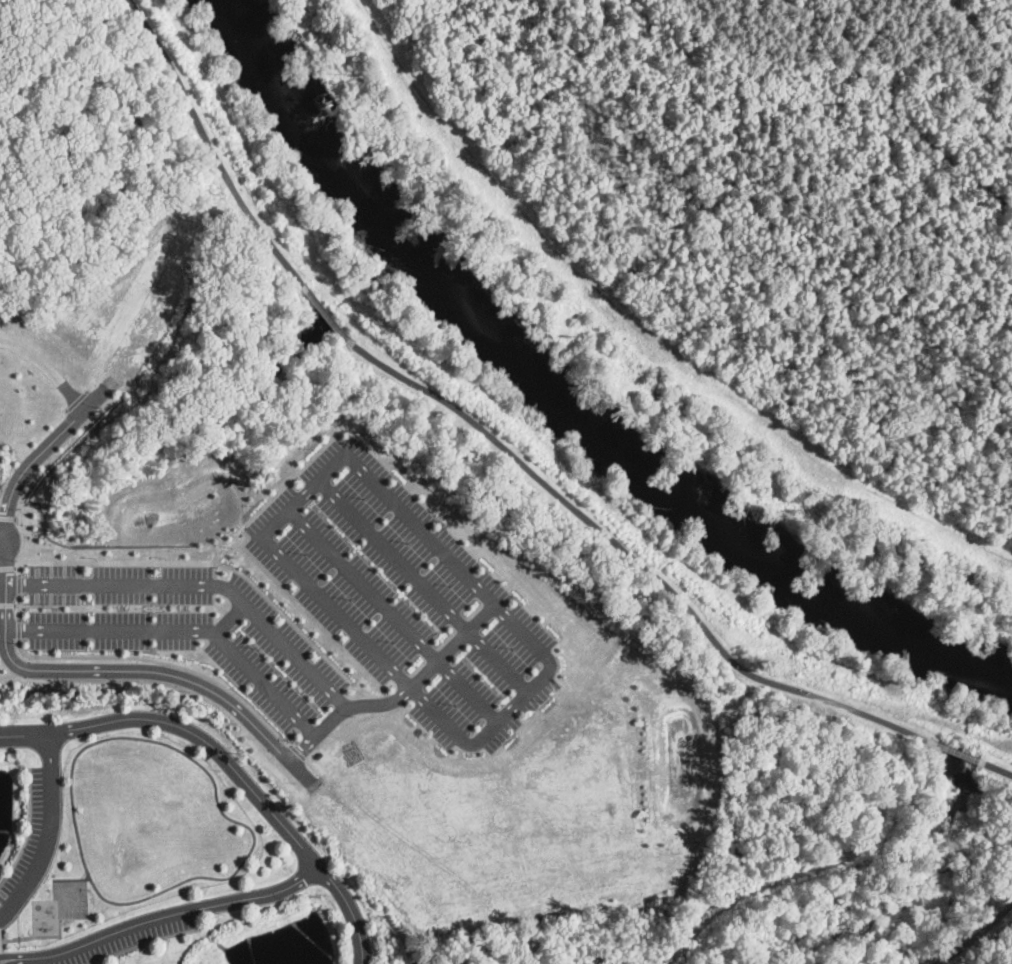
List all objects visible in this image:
park: (667, 50)
road: (48, 368)
park: (408, 372)
river: (583, 381)
road: (480, 426)
road: (280, 488)
road: (7, 515)
road: (3, 531)
road: (24, 544)
road: (3, 550)
road: (205, 562)
road: (8, 567)
road: (19, 583)
road: (201, 585)
road: (425, 587)
road: (320, 596)
parking lot: (406, 597)
road: (7, 604)
road: (53, 604)
road: (216, 605)
road: (18, 606)
road: (300, 606)
road: (395, 616)
road: (230, 618)
parking lot: (184, 627)
road: (18, 629)
road: (183, 630)
road: (164, 662)
road: (18, 664)
road: (401, 697)
road: (289, 733)
road: (299, 752)
road: (957, 752)
road: (229, 763)
road: (996, 769)
road: (216, 786)
road: (27, 829)
road: (48, 829)
road: (71, 878)
road: (169, 912)
road: (976, 938)
road: (142, 943)
building: (0, 944)
road: (17, 957)

